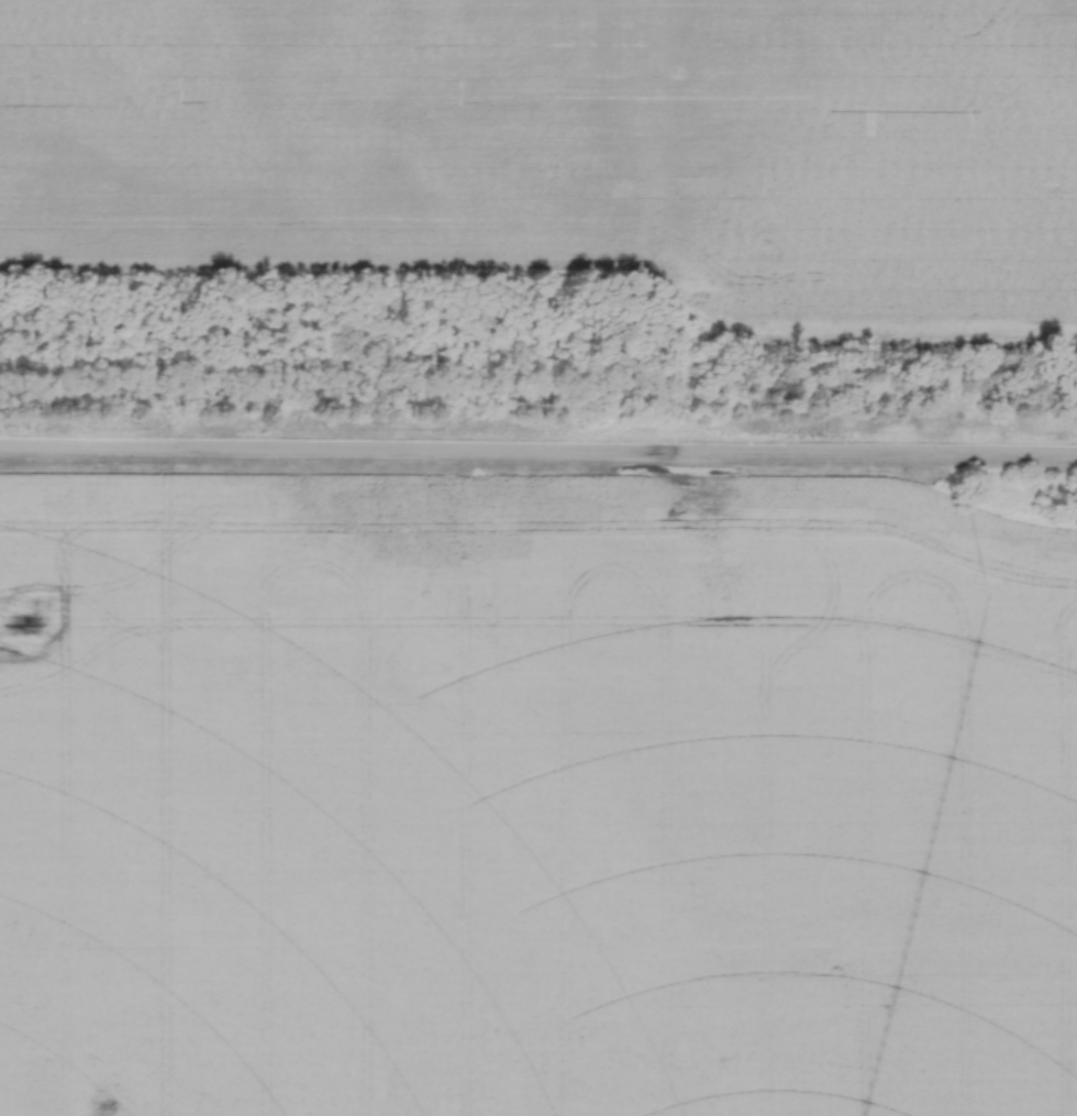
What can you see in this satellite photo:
road: (538, 458)

